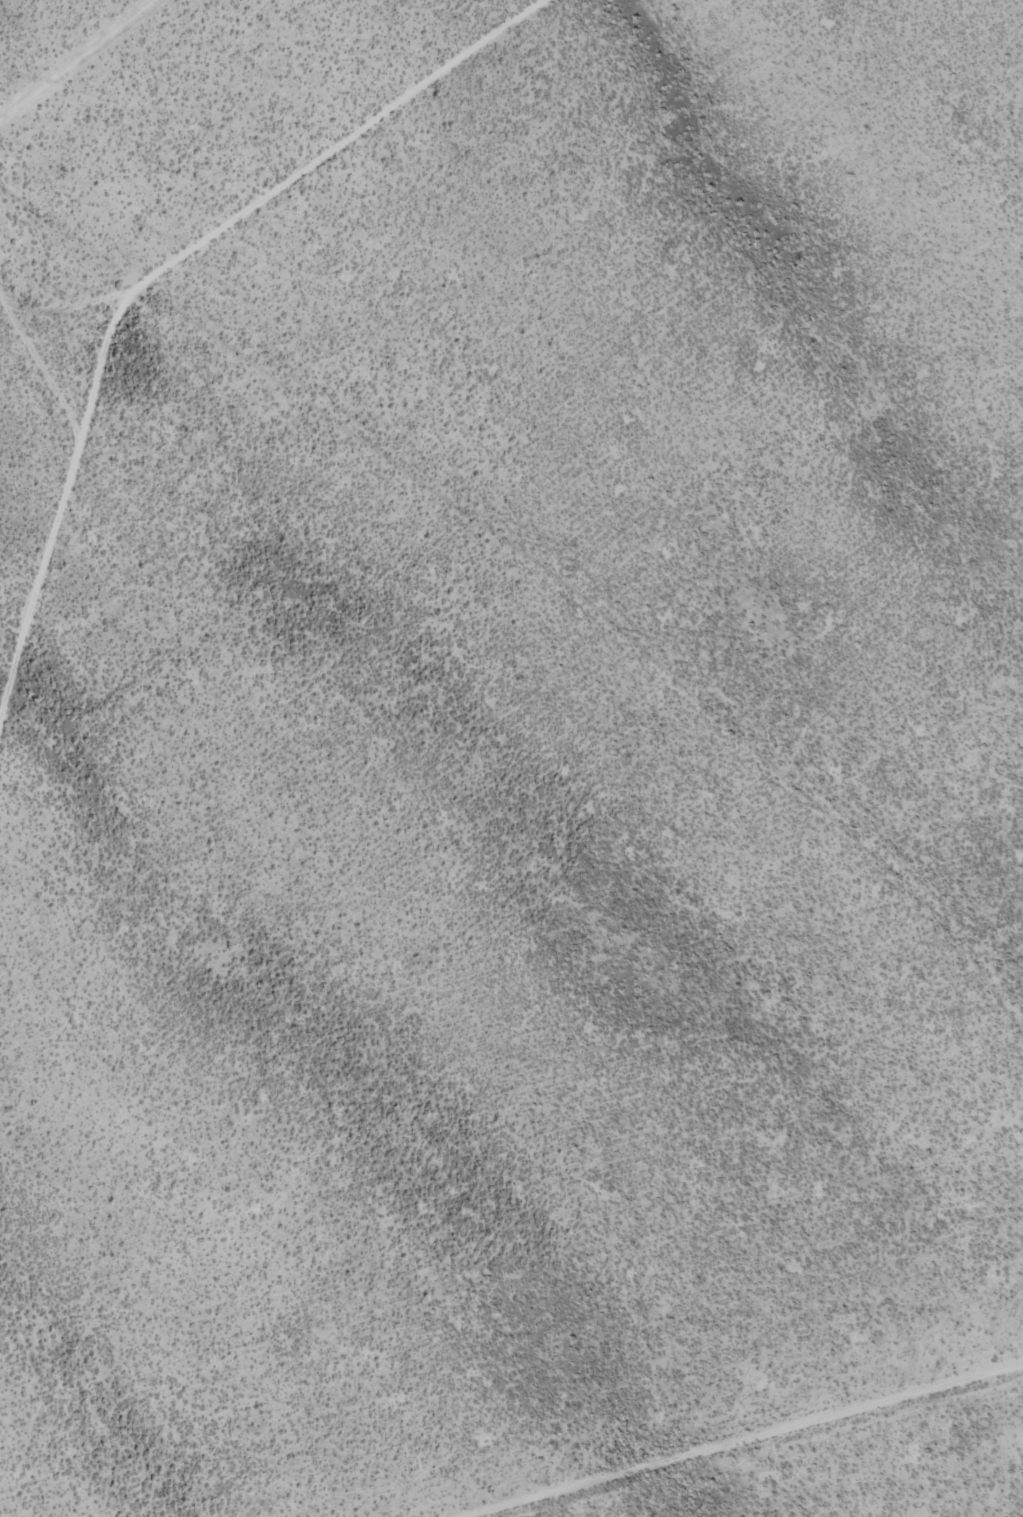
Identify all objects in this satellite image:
road: (151, 279)
road: (41, 356)
road: (565, 583)
road: (724, 1447)

